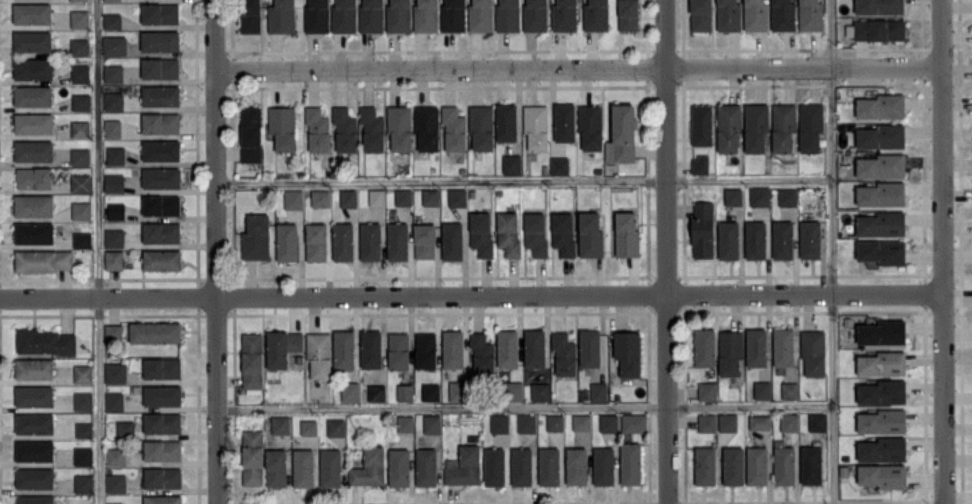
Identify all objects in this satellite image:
building: (78, 0)
building: (112, 0)
building: (879, 6)
building: (32, 13)
building: (159, 13)
building: (453, 15)
building: (480, 15)
building: (507, 15)
building: (534, 15)
building: (564, 15)
building: (596, 15)
building: (628, 15)
building: (701, 15)
building: (728, 15)
building: (755, 15)
building: (783, 15)
building: (810, 15)
building: (250, 16)
building: (281, 16)
building: (317, 16)
building: (344, 16)
building: (371, 16)
building: (398, 16)
building: (426, 16)
building: (79, 18)
building: (112, 20)
building: (876, 29)
building: (32, 41)
building: (160, 41)
building: (114, 45)
building: (79, 46)
road: (579, 66)
building: (160, 67)
building: (33, 68)
building: (80, 73)
building: (113, 73)
building: (33, 95)
building: (160, 95)
building: (113, 100)
building: (81, 101)
building: (881, 106)
building: (564, 121)
building: (160, 122)
building: (506, 122)
building: (33, 123)
building: (701, 124)
building: (536, 126)
building: (783, 126)
building: (810, 126)
building: (282, 127)
building: (399, 127)
building: (427, 127)
building: (481, 127)
building: (590, 127)
building: (756, 127)
building: (112, 128)
building: (454, 128)
building: (729, 128)
building: (80, 129)
building: (317, 129)
building: (345, 129)
building: (372, 129)
building: (250, 134)
building: (621, 134)
building: (881, 136)
building: (33, 150)
building: (161, 150)
building: (115, 155)
building: (80, 156)
building: (511, 164)
building: (700, 164)
building: (559, 165)
building: (881, 166)
building: (34, 177)
building: (161, 177)
road: (523, 179)
building: (81, 182)
building: (114, 182)
building: (881, 194)
building: (403, 196)
building: (733, 196)
building: (760, 196)
building: (787, 196)
building: (320, 197)
building: (376, 197)
building: (430, 197)
building: (457, 197)
building: (293, 198)
building: (348, 198)
building: (161, 204)
building: (34, 205)
building: (81, 210)
building: (116, 210)
building: (881, 224)
building: (703, 229)
building: (34, 232)
building: (161, 232)
building: (481, 233)
building: (508, 233)
building: (535, 233)
building: (563, 233)
building: (590, 234)
building: (626, 234)
building: (114, 237)
building: (256, 237)
building: (82, 239)
building: (728, 239)
building: (783, 239)
building: (810, 239)
building: (452, 240)
building: (755, 240)
building: (287, 241)
building: (316, 241)
building: (343, 241)
building: (370, 241)
building: (397, 241)
building: (424, 241)
road: (99, 251)
building: (882, 251)
road: (943, 251)
road: (216, 252)
road: (666, 252)
road: (831, 252)
building: (113, 259)
building: (161, 259)
building: (44, 260)
road: (471, 294)
building: (155, 332)
building: (882, 332)
building: (113, 333)
building: (45, 341)
building: (783, 346)
building: (282, 347)
building: (589, 347)
building: (704, 347)
building: (756, 347)
building: (371, 348)
building: (453, 348)
building: (507, 348)
building: (534, 348)
building: (343, 349)
building: (398, 350)
building: (425, 350)
building: (813, 351)
building: (628, 352)
building: (730, 352)
building: (482, 353)
building: (564, 353)
building: (319, 354)
building: (251, 360)
building: (882, 363)
building: (34, 368)
building: (162, 368)
building: (115, 372)
building: (83, 373)
building: (457, 390)
building: (707, 390)
building: (762, 390)
building: (789, 390)
building: (350, 391)
building: (431, 391)
building: (512, 391)
building: (540, 391)
building: (598, 391)
building: (376, 392)
building: (405, 392)
building: (882, 392)
building: (34, 395)
building: (162, 395)
building: (83, 401)
building: (114, 401)
road: (525, 408)
building: (582, 421)
building: (818, 421)
building: (882, 421)
building: (554, 422)
building: (608, 422)
building: (707, 422)
building: (727, 422)
building: (759, 422)
building: (789, 422)
building: (34, 423)
building: (162, 423)
building: (405, 423)
building: (432, 423)
building: (499, 423)
building: (526, 423)
building: (633, 423)
building: (280, 424)
building: (125, 427)
building: (309, 427)
building: (335, 427)
building: (84, 429)
building: (162, 449)
building: (883, 449)
building: (35, 450)
building: (83, 455)
building: (115, 456)
building: (252, 457)
building: (630, 463)
building: (784, 463)
building: (576, 465)
building: (603, 465)
building: (705, 465)
building: (733, 465)
building: (757, 465)
building: (811, 465)
building: (369, 466)
building: (464, 466)
building: (494, 466)
building: (521, 466)
building: (549, 466)
building: (276, 467)
building: (303, 467)
building: (330, 467)
building: (399, 467)
building: (426, 467)
building: (883, 475)
building: (162, 477)
building: (34, 478)
building: (83, 482)
building: (115, 482)
building: (35, 499)
building: (162, 499)
building: (115, 503)

